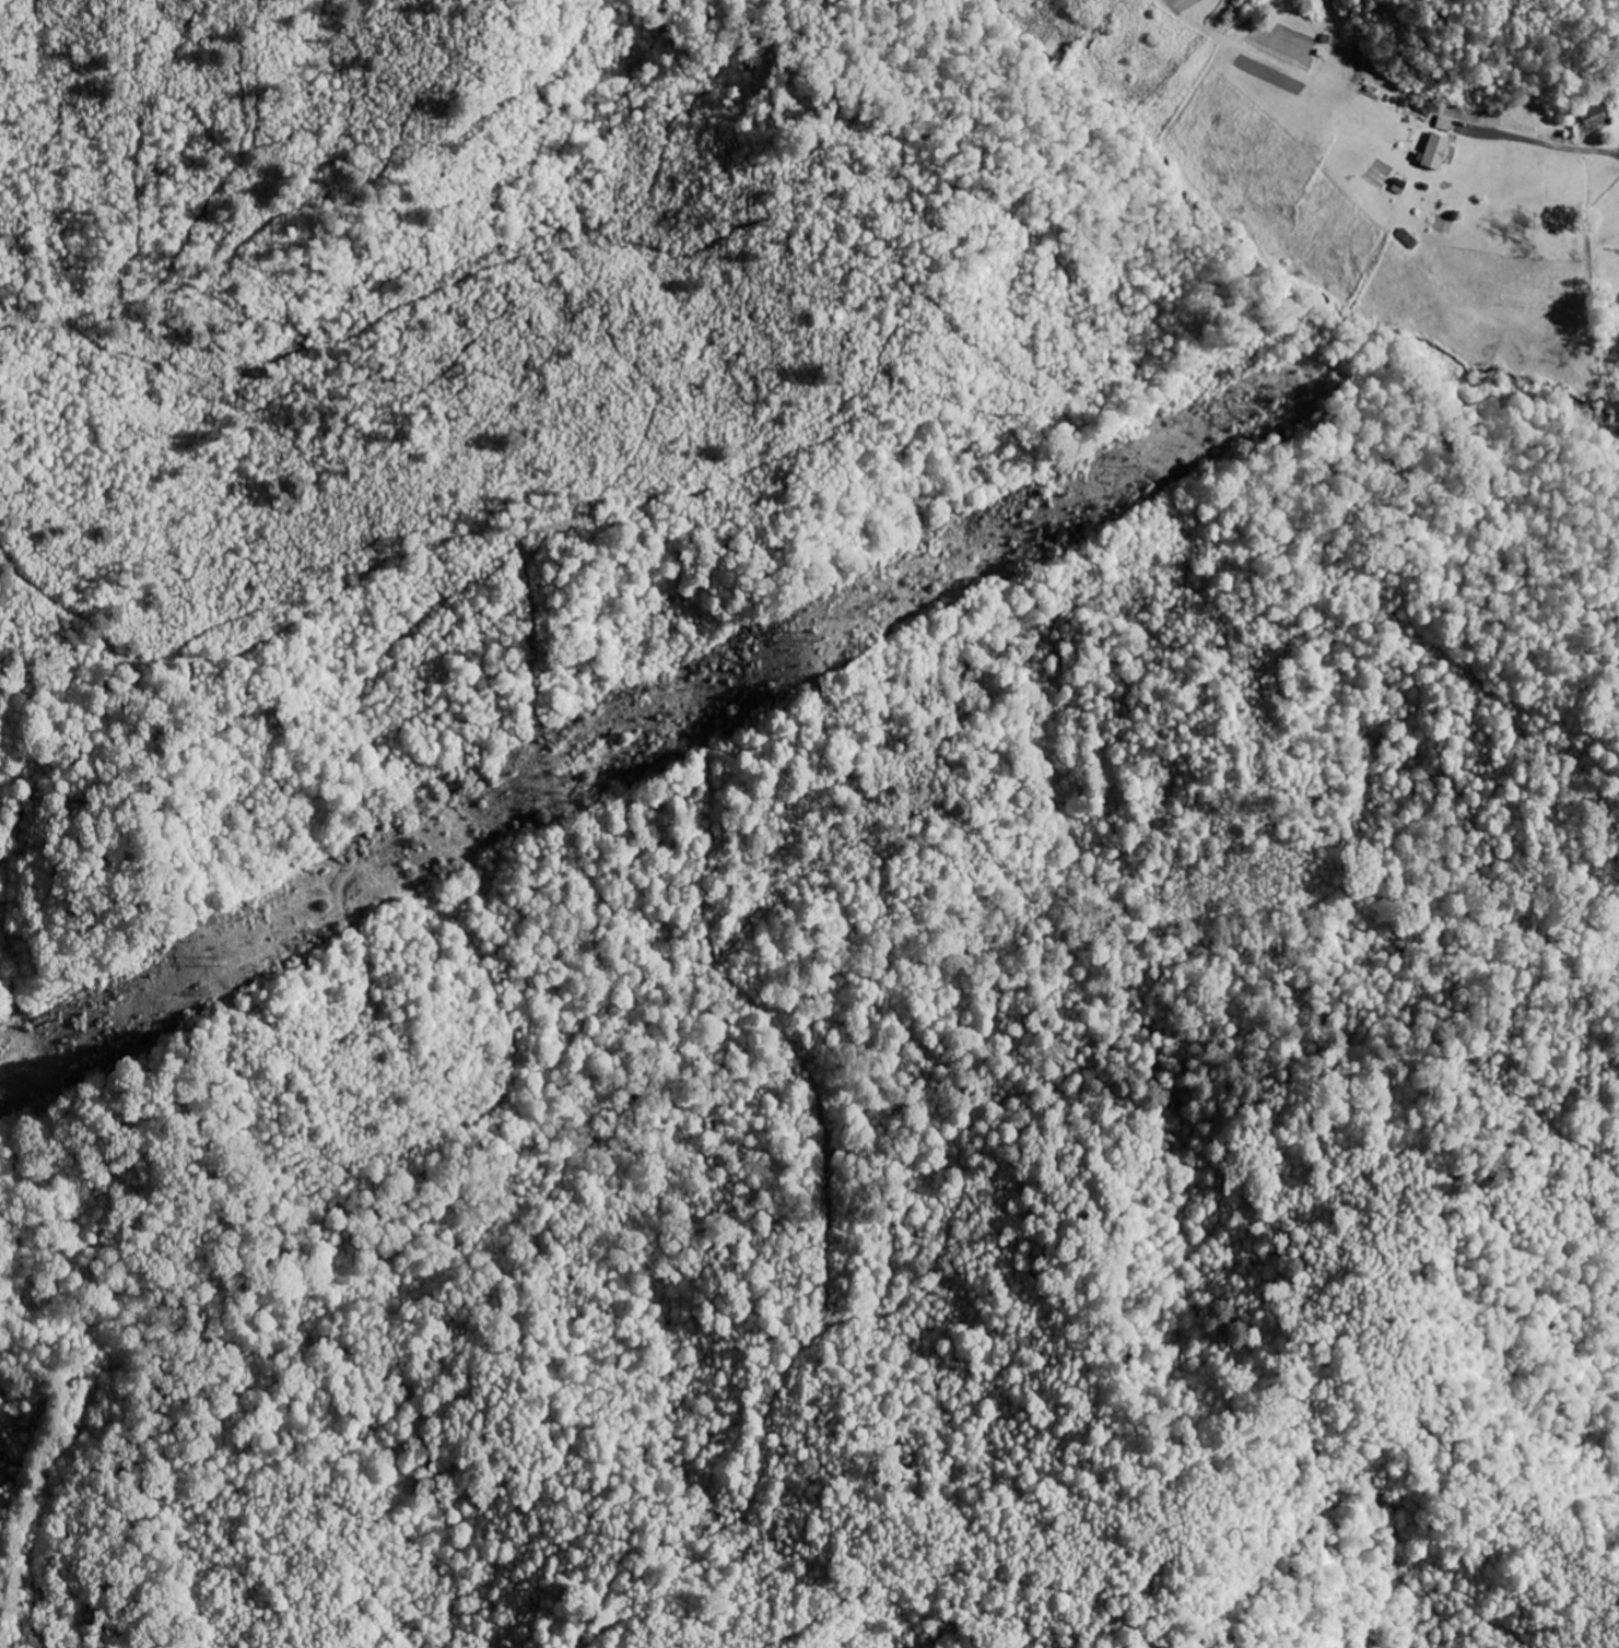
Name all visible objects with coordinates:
building: (1587, 119)
building: (1442, 122)
road: (1535, 141)
building: (1431, 151)
power tower: (837, 625)

